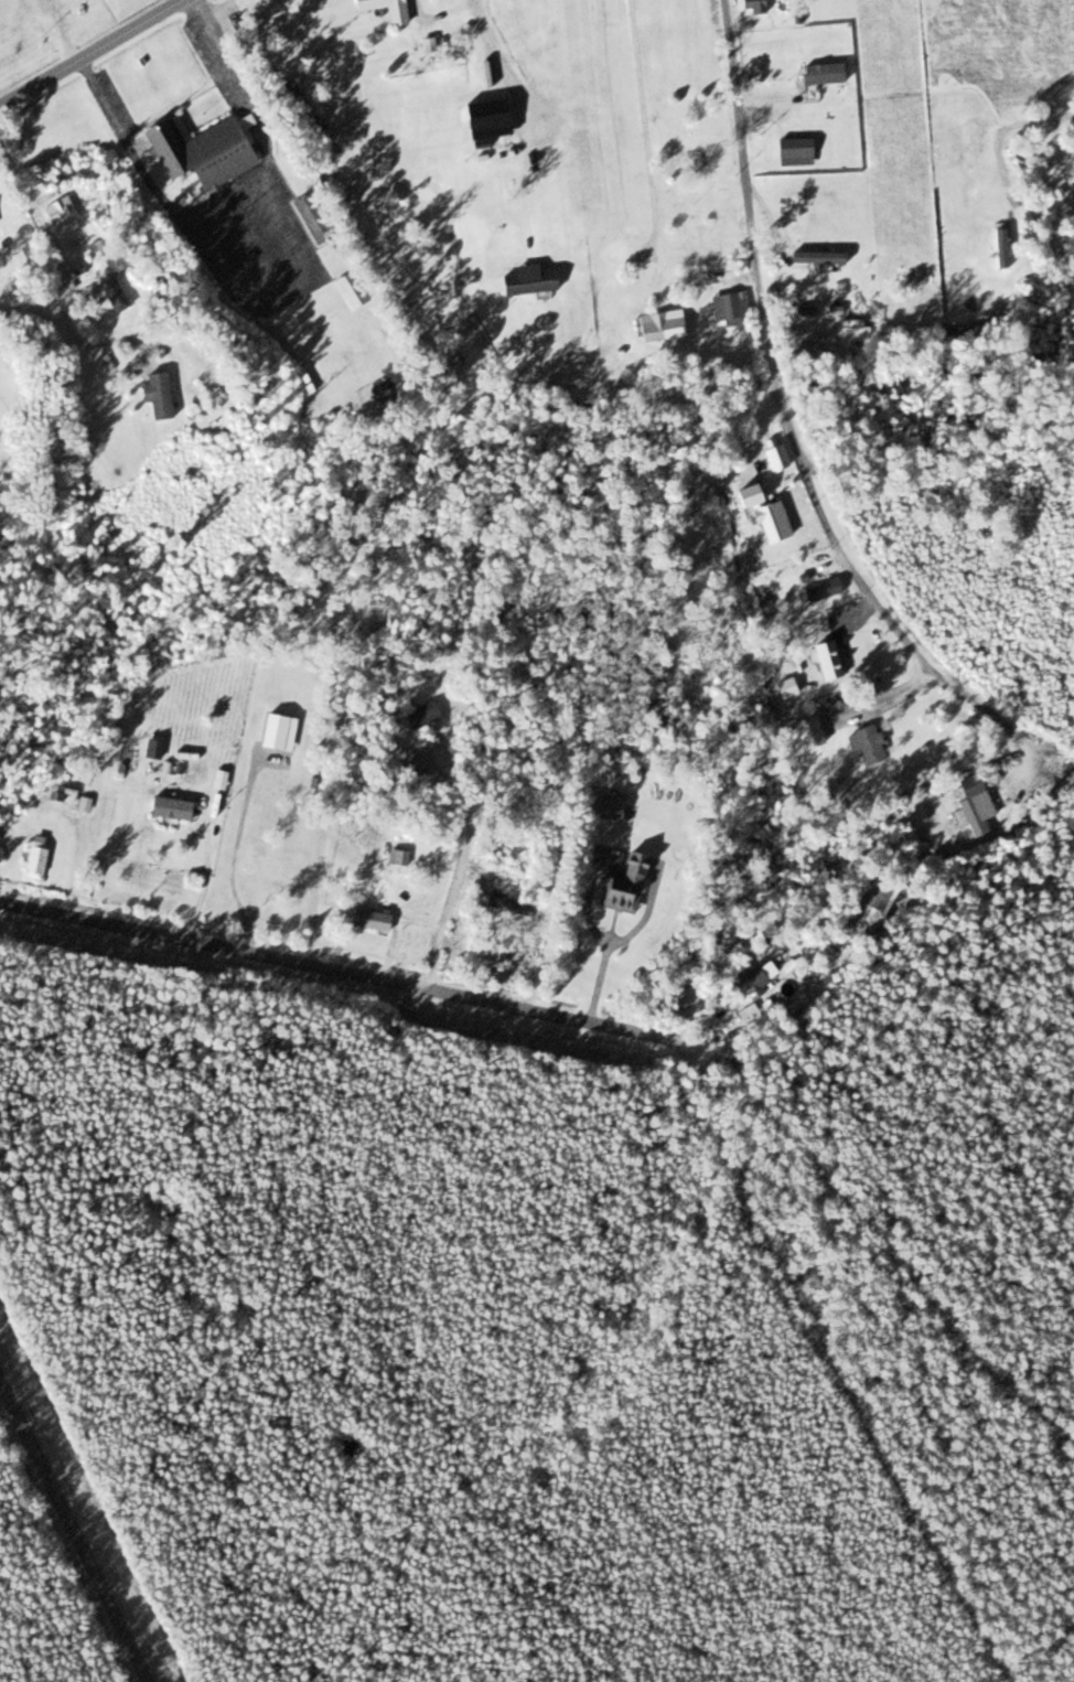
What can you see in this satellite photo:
building: (748, 4)
building: (394, 18)
road: (90, 52)
parking lot: (211, 65)
building: (818, 73)
building: (341, 99)
parking lot: (116, 100)
building: (484, 115)
building: (792, 150)
building: (203, 151)
building: (681, 164)
road: (225, 194)
building: (56, 213)
road: (254, 247)
parking lot: (259, 248)
building: (815, 259)
building: (526, 280)
building: (344, 290)
building: (109, 293)
road: (286, 298)
building: (724, 304)
building: (657, 326)
building: (153, 395)
road: (787, 422)
building: (773, 457)
building: (759, 512)
building: (819, 590)
building: (824, 660)
building: (416, 713)
building: (805, 731)
building: (863, 743)
building: (150, 748)
building: (412, 760)
building: (217, 780)
building: (602, 806)
building: (165, 807)
building: (971, 814)
building: (32, 857)
building: (396, 857)
building: (620, 885)
building: (505, 908)
building: (367, 919)
building: (488, 954)
road: (339, 971)
building: (750, 977)
road: (73, 1533)

